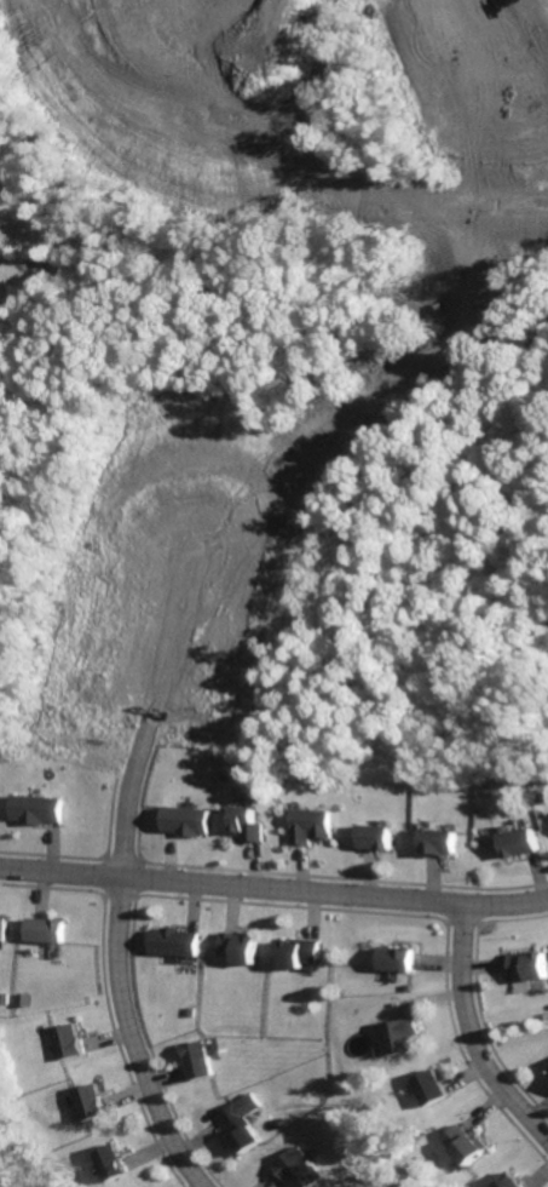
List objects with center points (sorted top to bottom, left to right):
building: (39, 810)
building: (188, 821)
building: (252, 826)
building: (316, 827)
building: (382, 837)
building: (446, 842)
building: (525, 843)
road: (273, 891)
building: (5, 928)
building: (48, 929)
building: (173, 945)
building: (240, 945)
building: (298, 954)
building: (393, 958)
road: (113, 962)
building: (529, 965)
building: (398, 1037)
building: (68, 1042)
road: (468, 1043)
building: (198, 1061)
building: (546, 1071)
building: (427, 1089)
building: (88, 1103)
building: (238, 1135)
building: (460, 1146)
building: (109, 1164)
building: (299, 1170)
building: (504, 1181)

